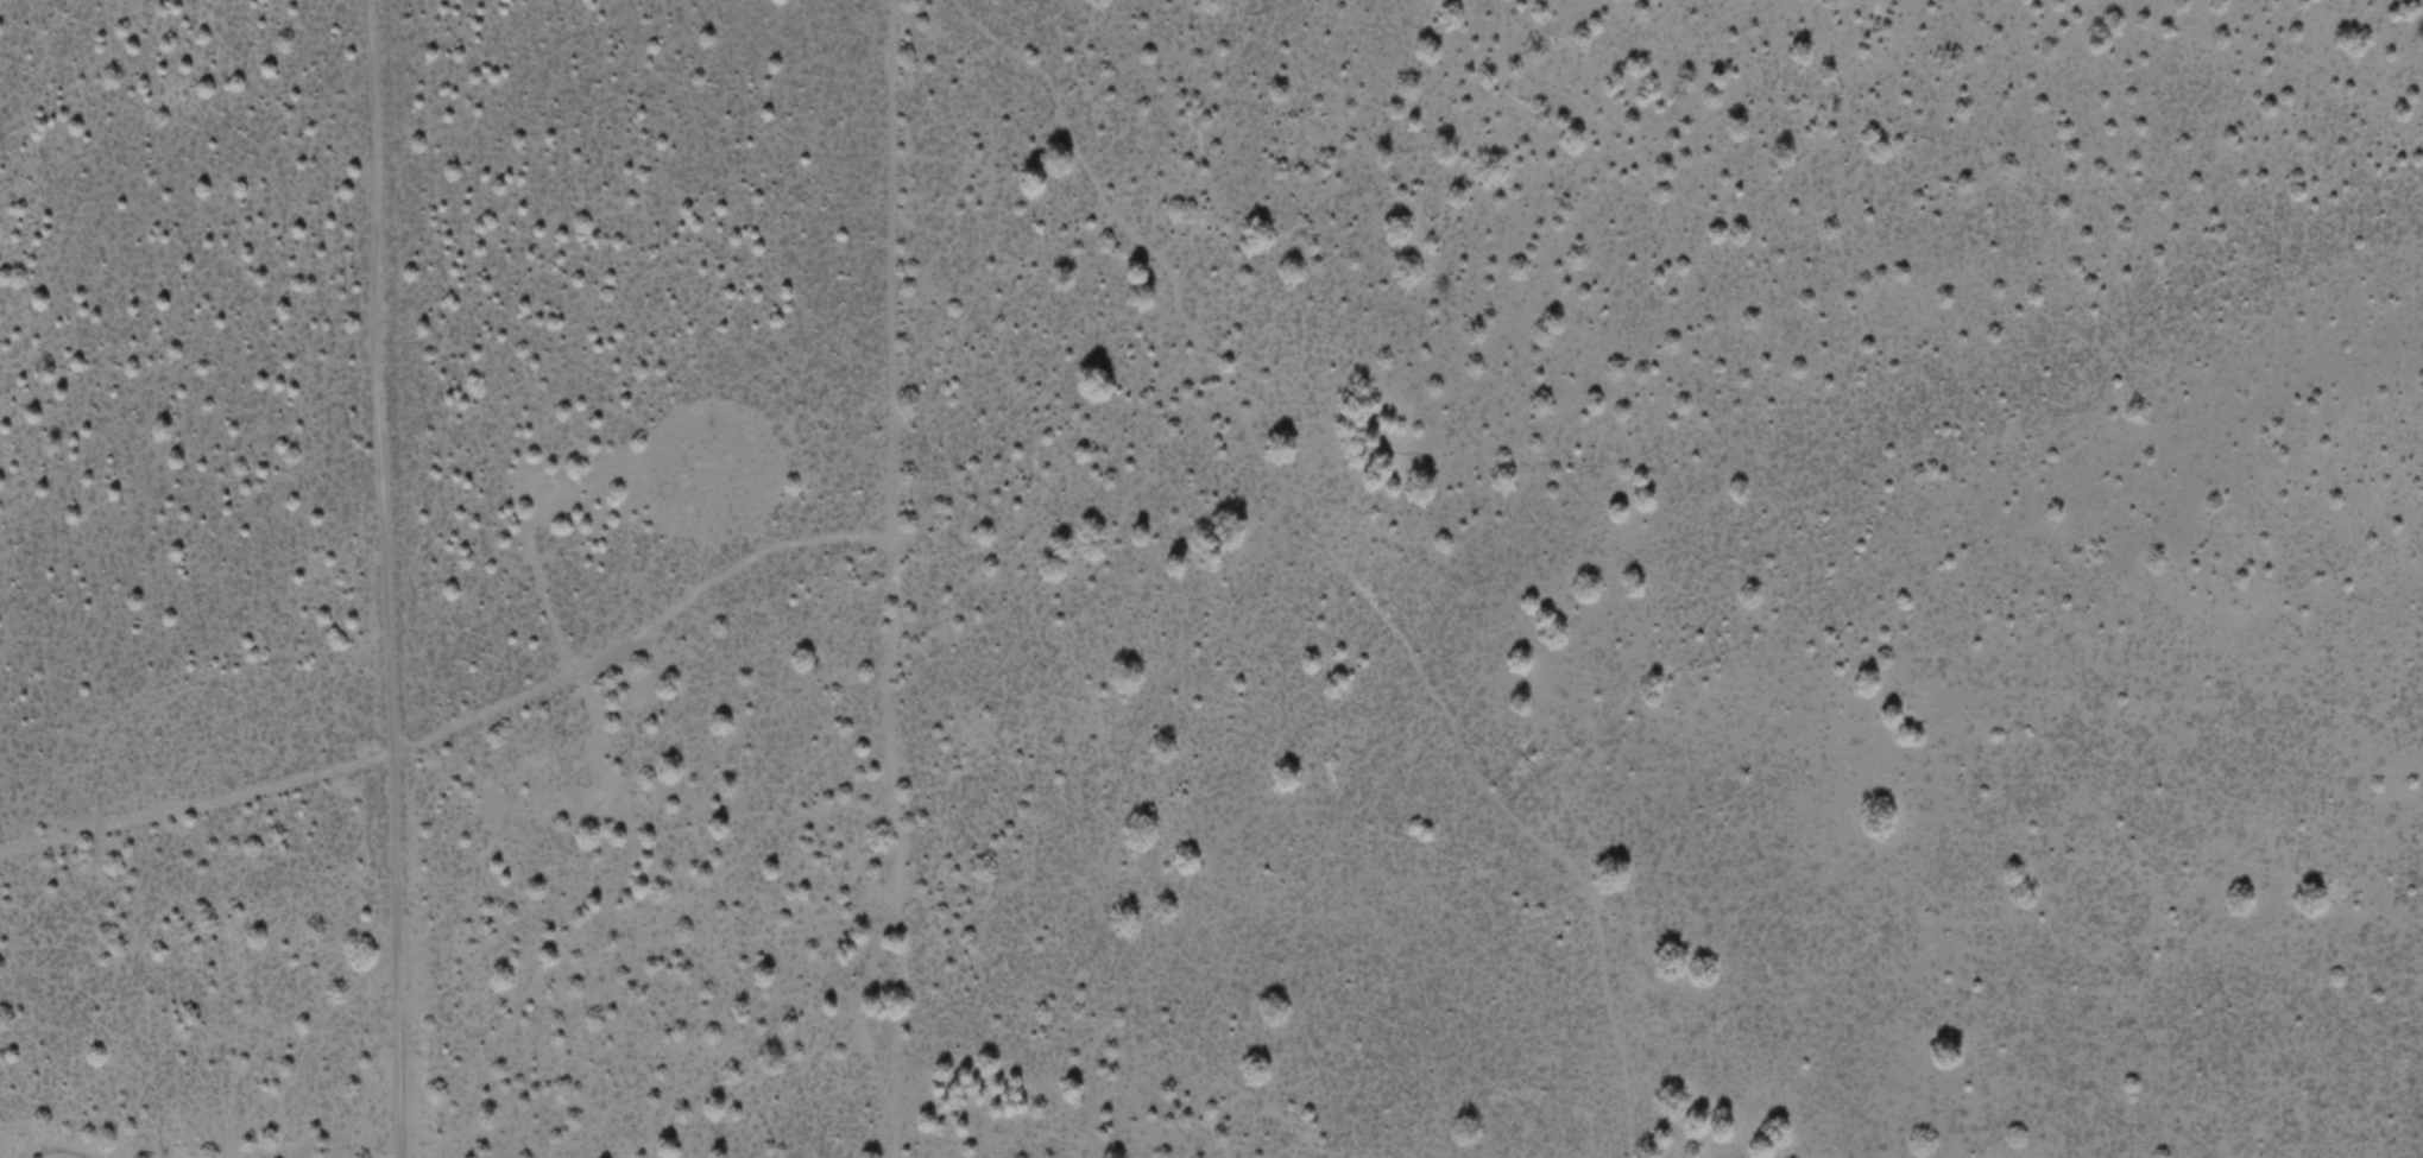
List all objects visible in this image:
road: (378, 578)

